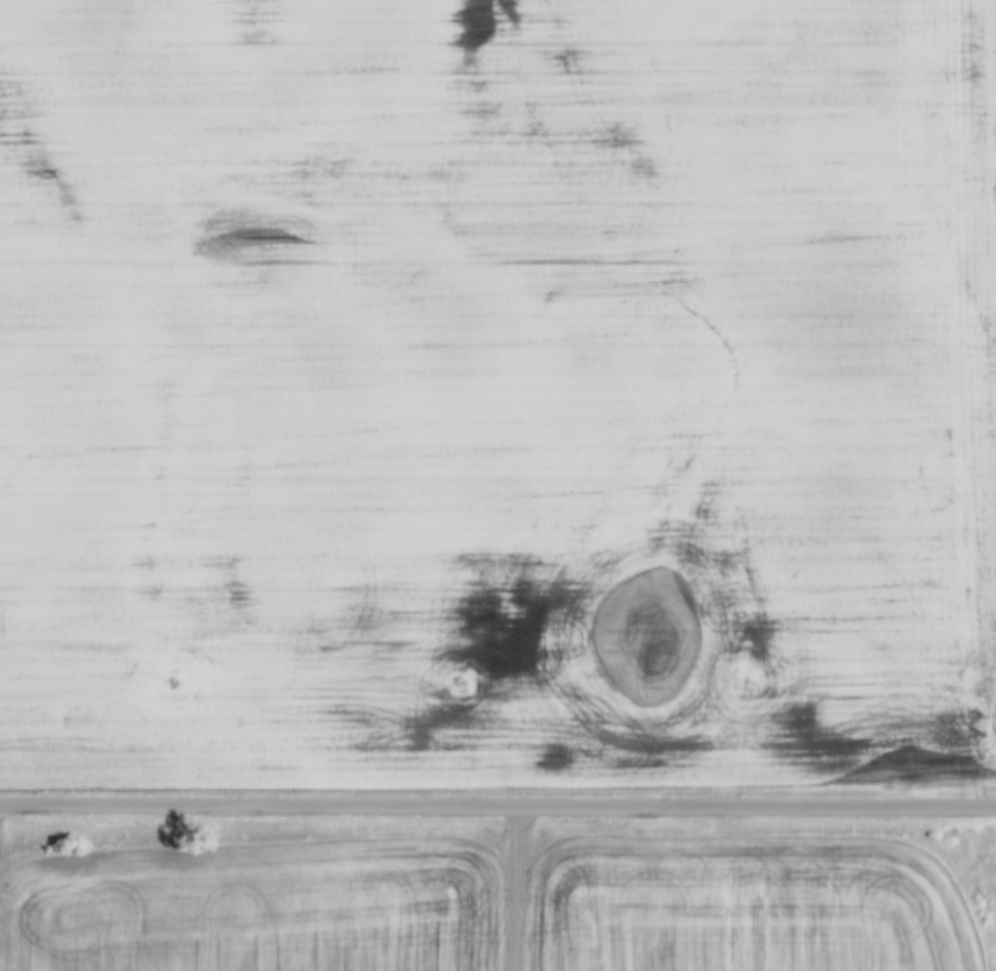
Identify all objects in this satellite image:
road: (497, 805)

